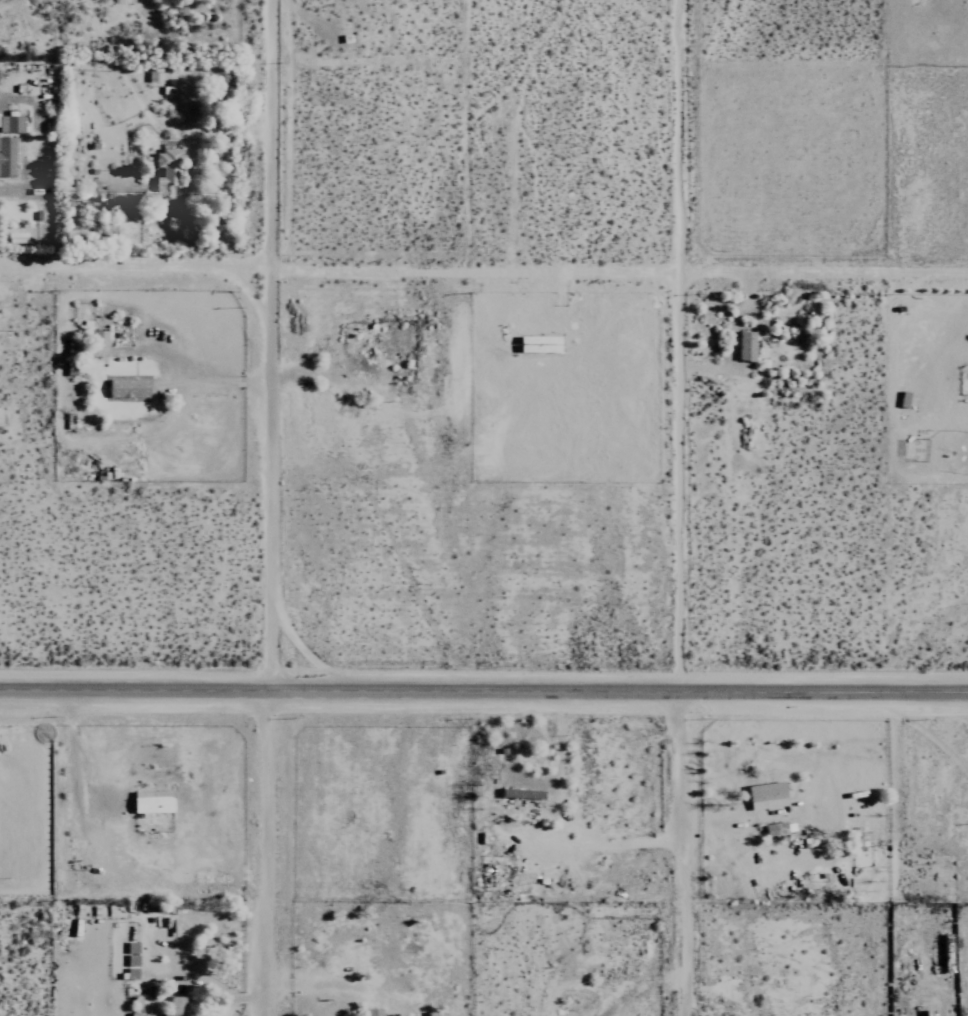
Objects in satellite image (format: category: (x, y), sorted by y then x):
road: (483, 274)
road: (263, 345)
road: (680, 347)
road: (483, 693)
road: (267, 853)
road: (678, 854)
road: (241, 999)

